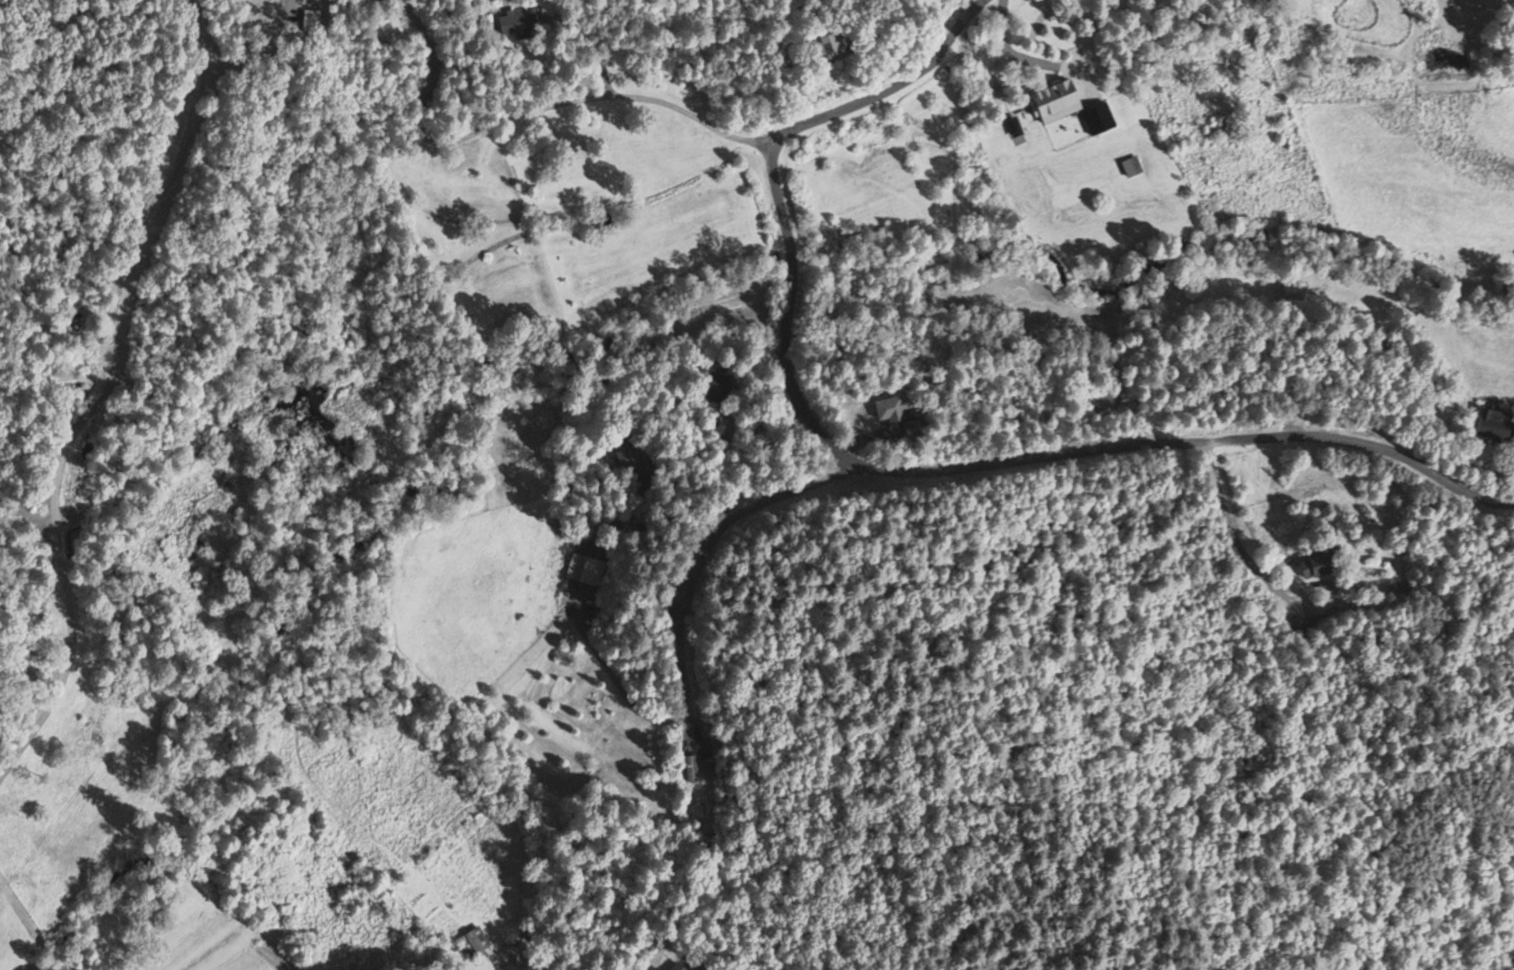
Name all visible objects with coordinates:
road: (969, 14)
building: (515, 21)
building: (388, 31)
building: (846, 43)
road: (616, 96)
road: (870, 96)
building: (1071, 107)
building: (1215, 131)
building: (1291, 294)
building: (713, 384)
building: (1493, 424)
road: (1020, 456)
building: (625, 458)
building: (1315, 563)
building: (584, 569)
road: (683, 585)
building: (705, 765)
building: (690, 771)
building: (472, 942)
building: (676, 967)

